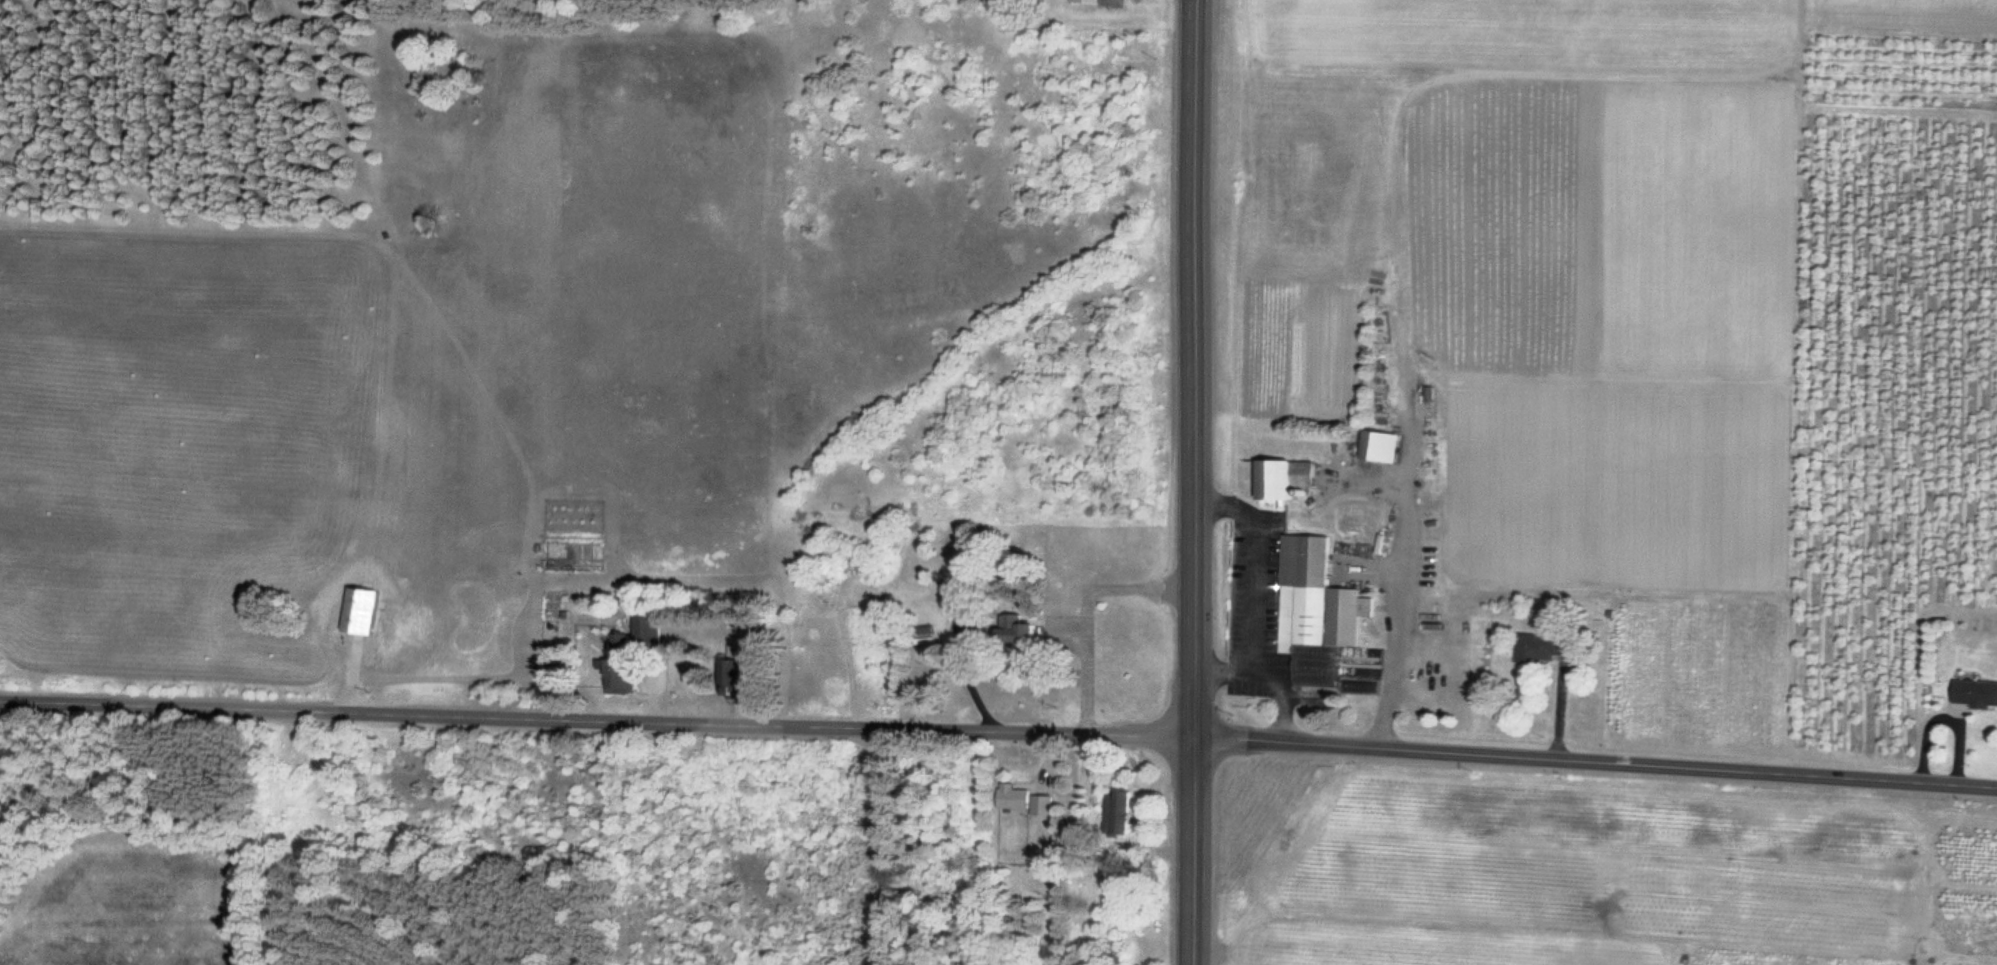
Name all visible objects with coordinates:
building: (1085, 1)
building: (1373, 234)
building: (1282, 481)
road: (1194, 482)
building: (1316, 615)
building: (1016, 634)
building: (1540, 641)
building: (1974, 693)
road: (598, 723)
road: (1596, 763)
building: (1012, 797)
building: (1041, 805)

